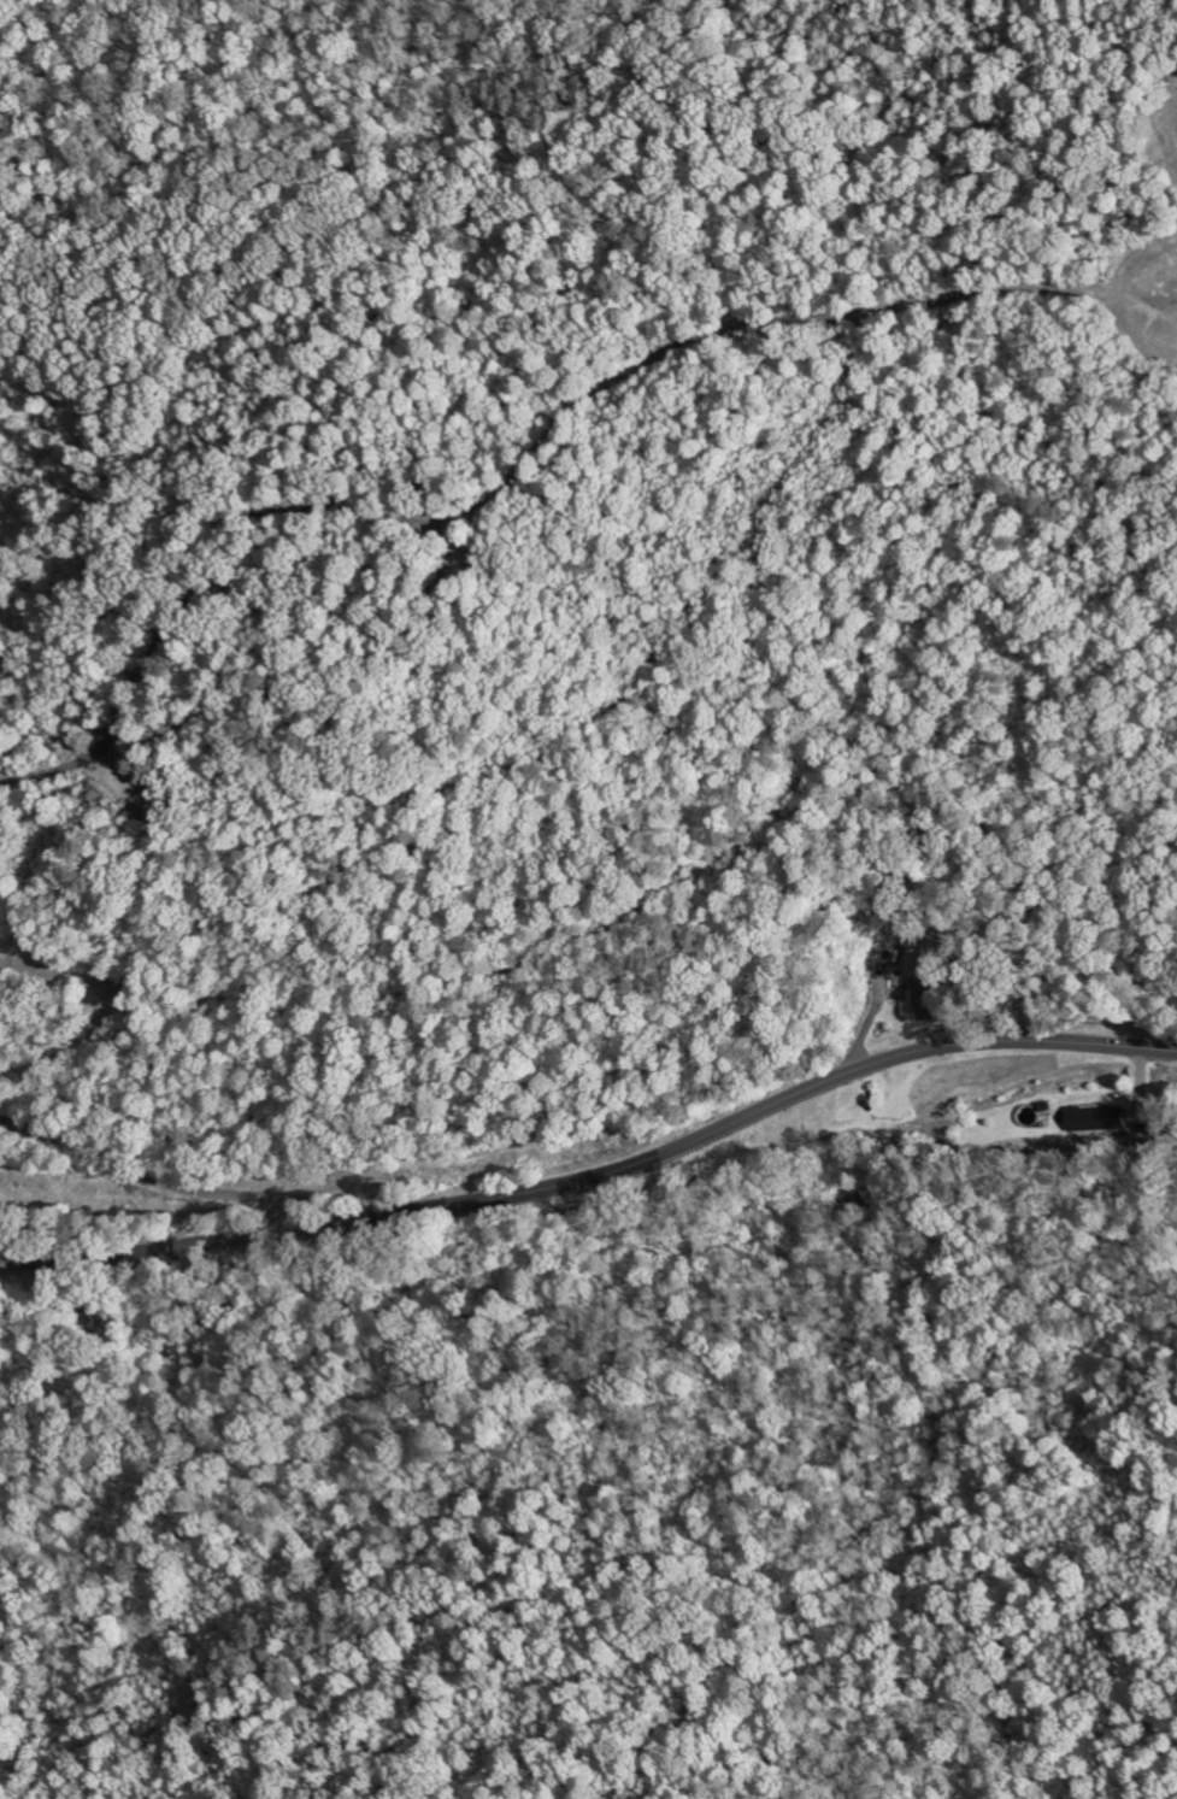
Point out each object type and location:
building: (918, 1007)
building: (1097, 1122)
road: (598, 1177)

